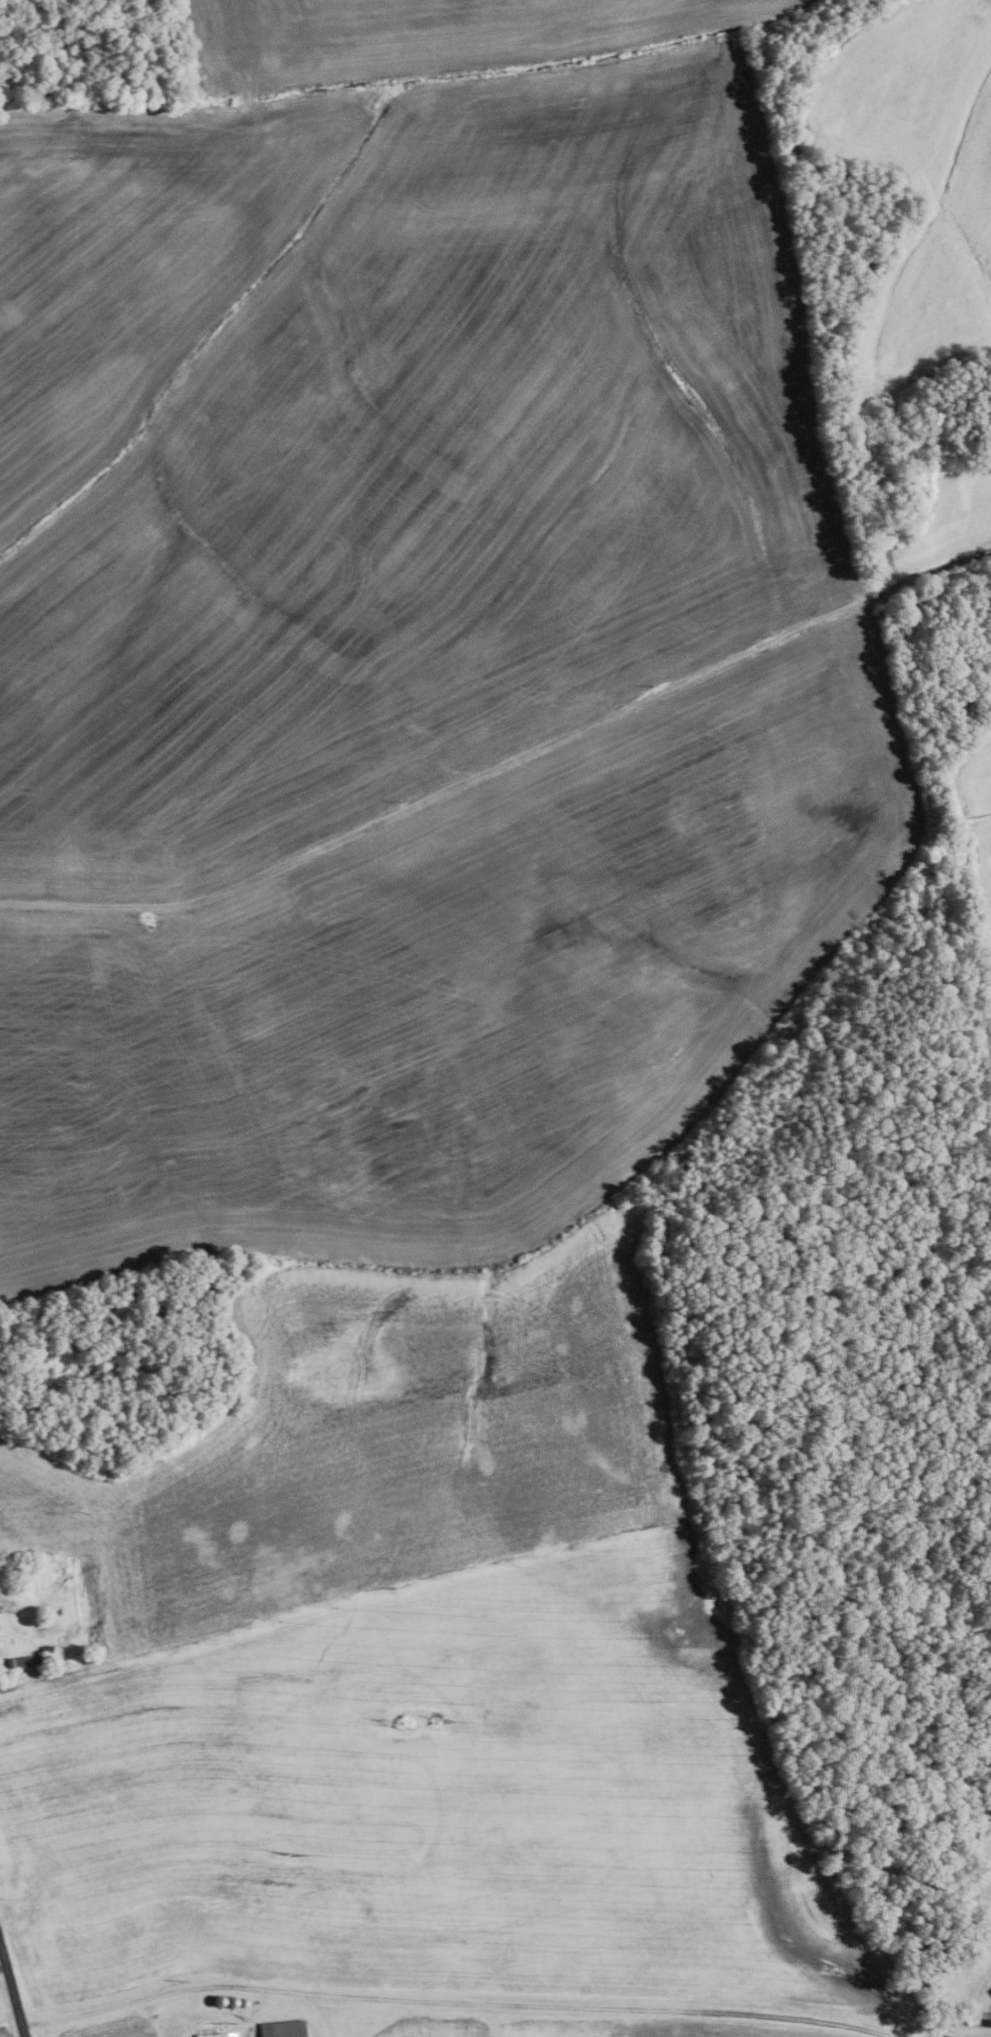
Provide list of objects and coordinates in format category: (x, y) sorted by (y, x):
road: (503, 764)
building: (24, 1591)
building: (46, 1649)
building: (24, 1662)
road: (3, 1968)
road: (12, 1990)
road: (456, 1999)
building: (217, 2000)
silo: (217, 2000)
building: (230, 2001)
silo: (230, 2001)
building: (243, 2002)
silo: (243, 2002)
building: (988, 2021)
building: (282, 2028)
building: (218, 2034)

